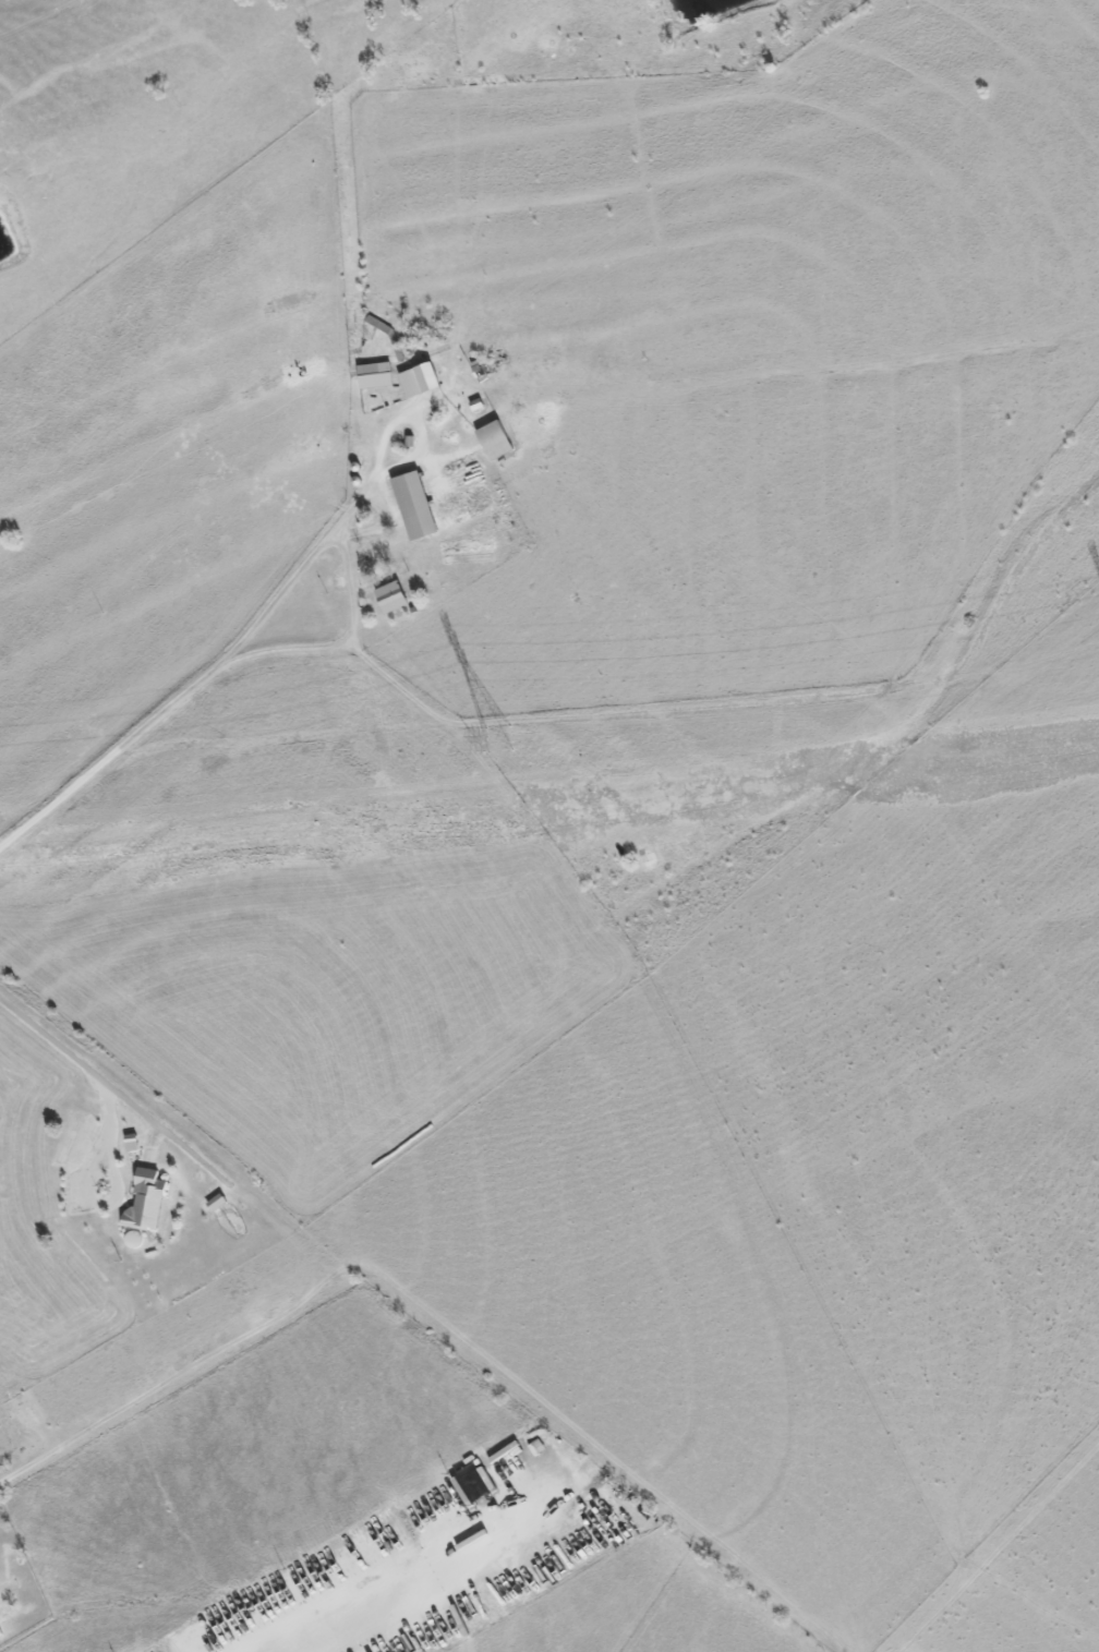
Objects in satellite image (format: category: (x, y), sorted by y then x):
building: (375, 379)
building: (420, 385)
road: (212, 672)
road: (653, 711)
power tower: (498, 739)
road: (116, 1184)
building: (147, 1204)
road: (290, 1256)

